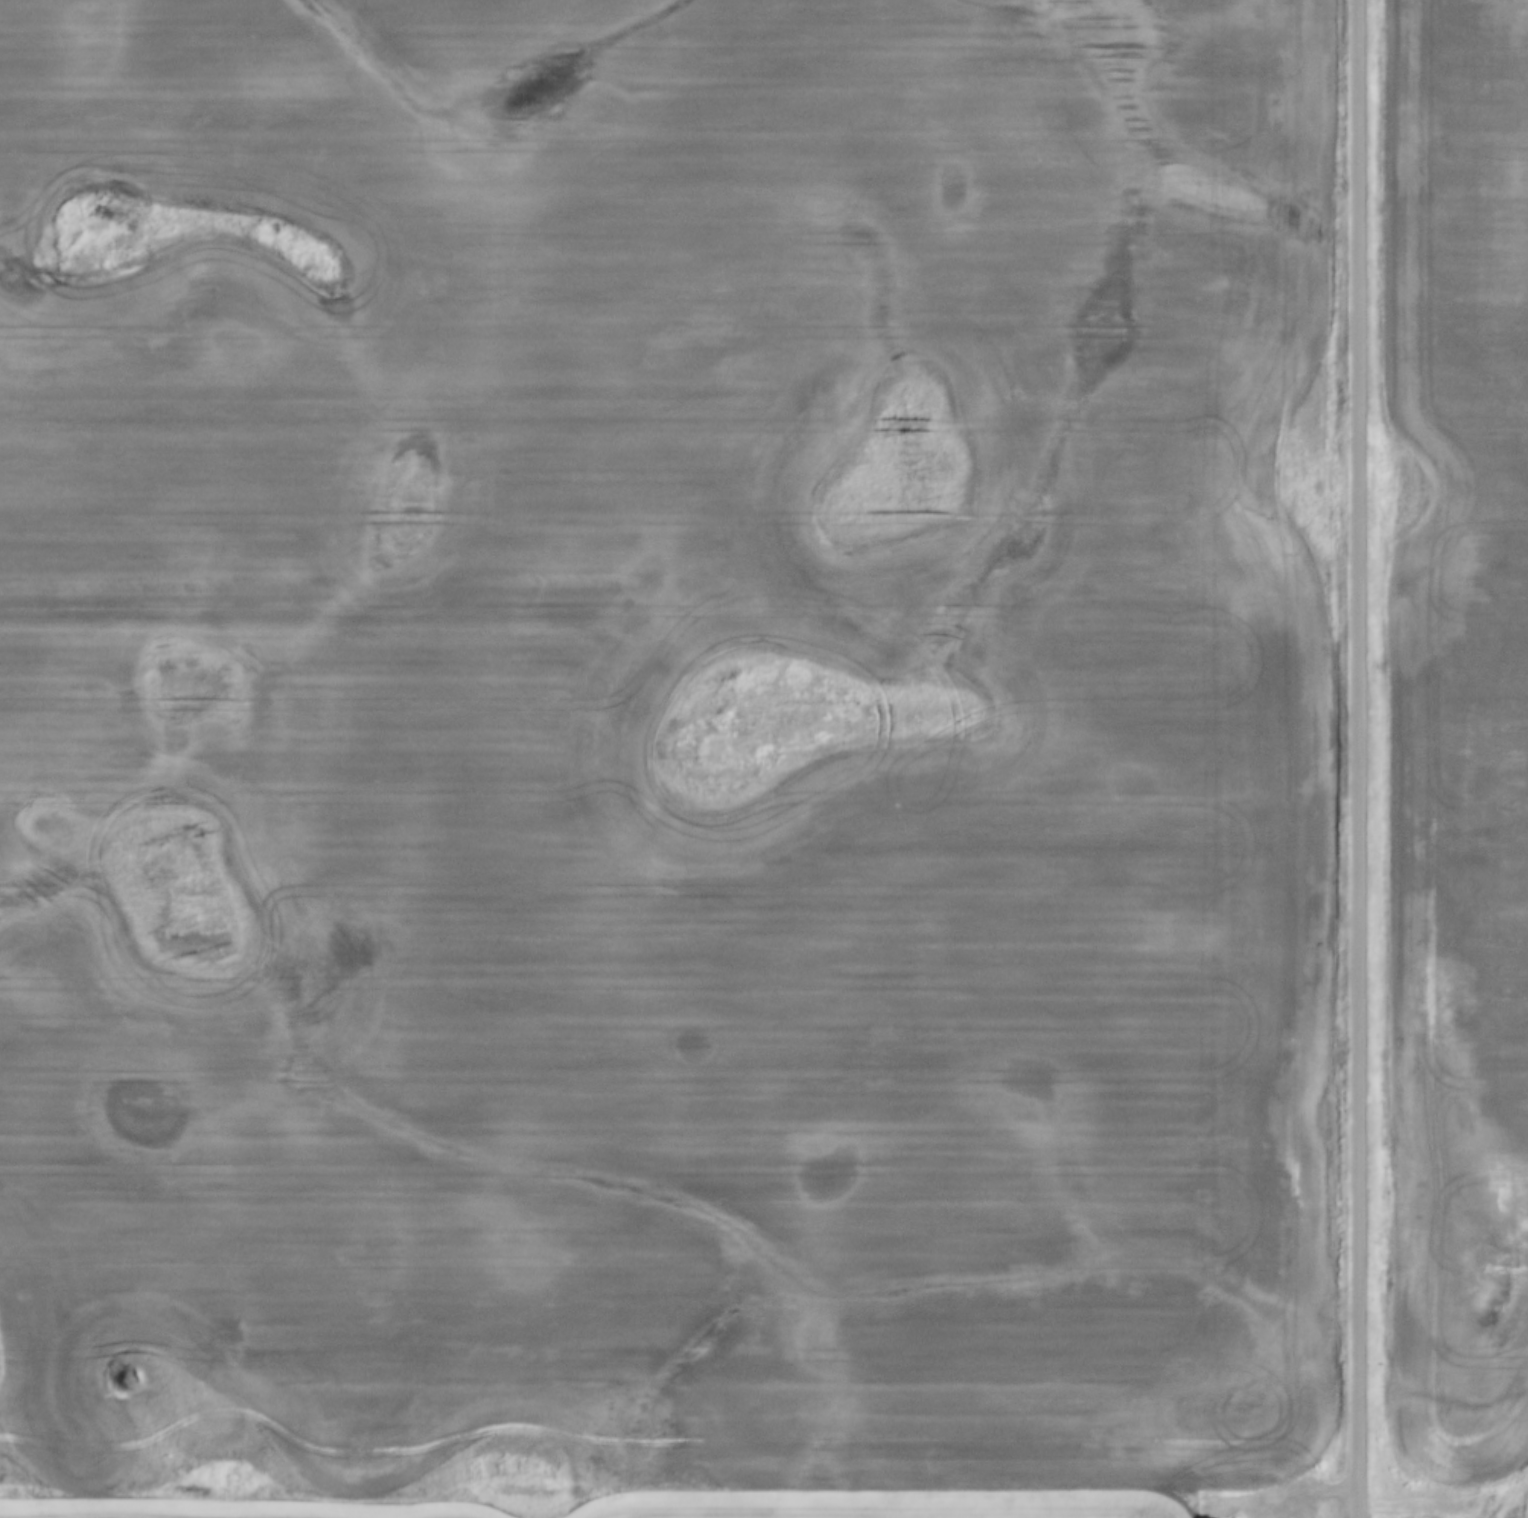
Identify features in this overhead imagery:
road: (1357, 758)

